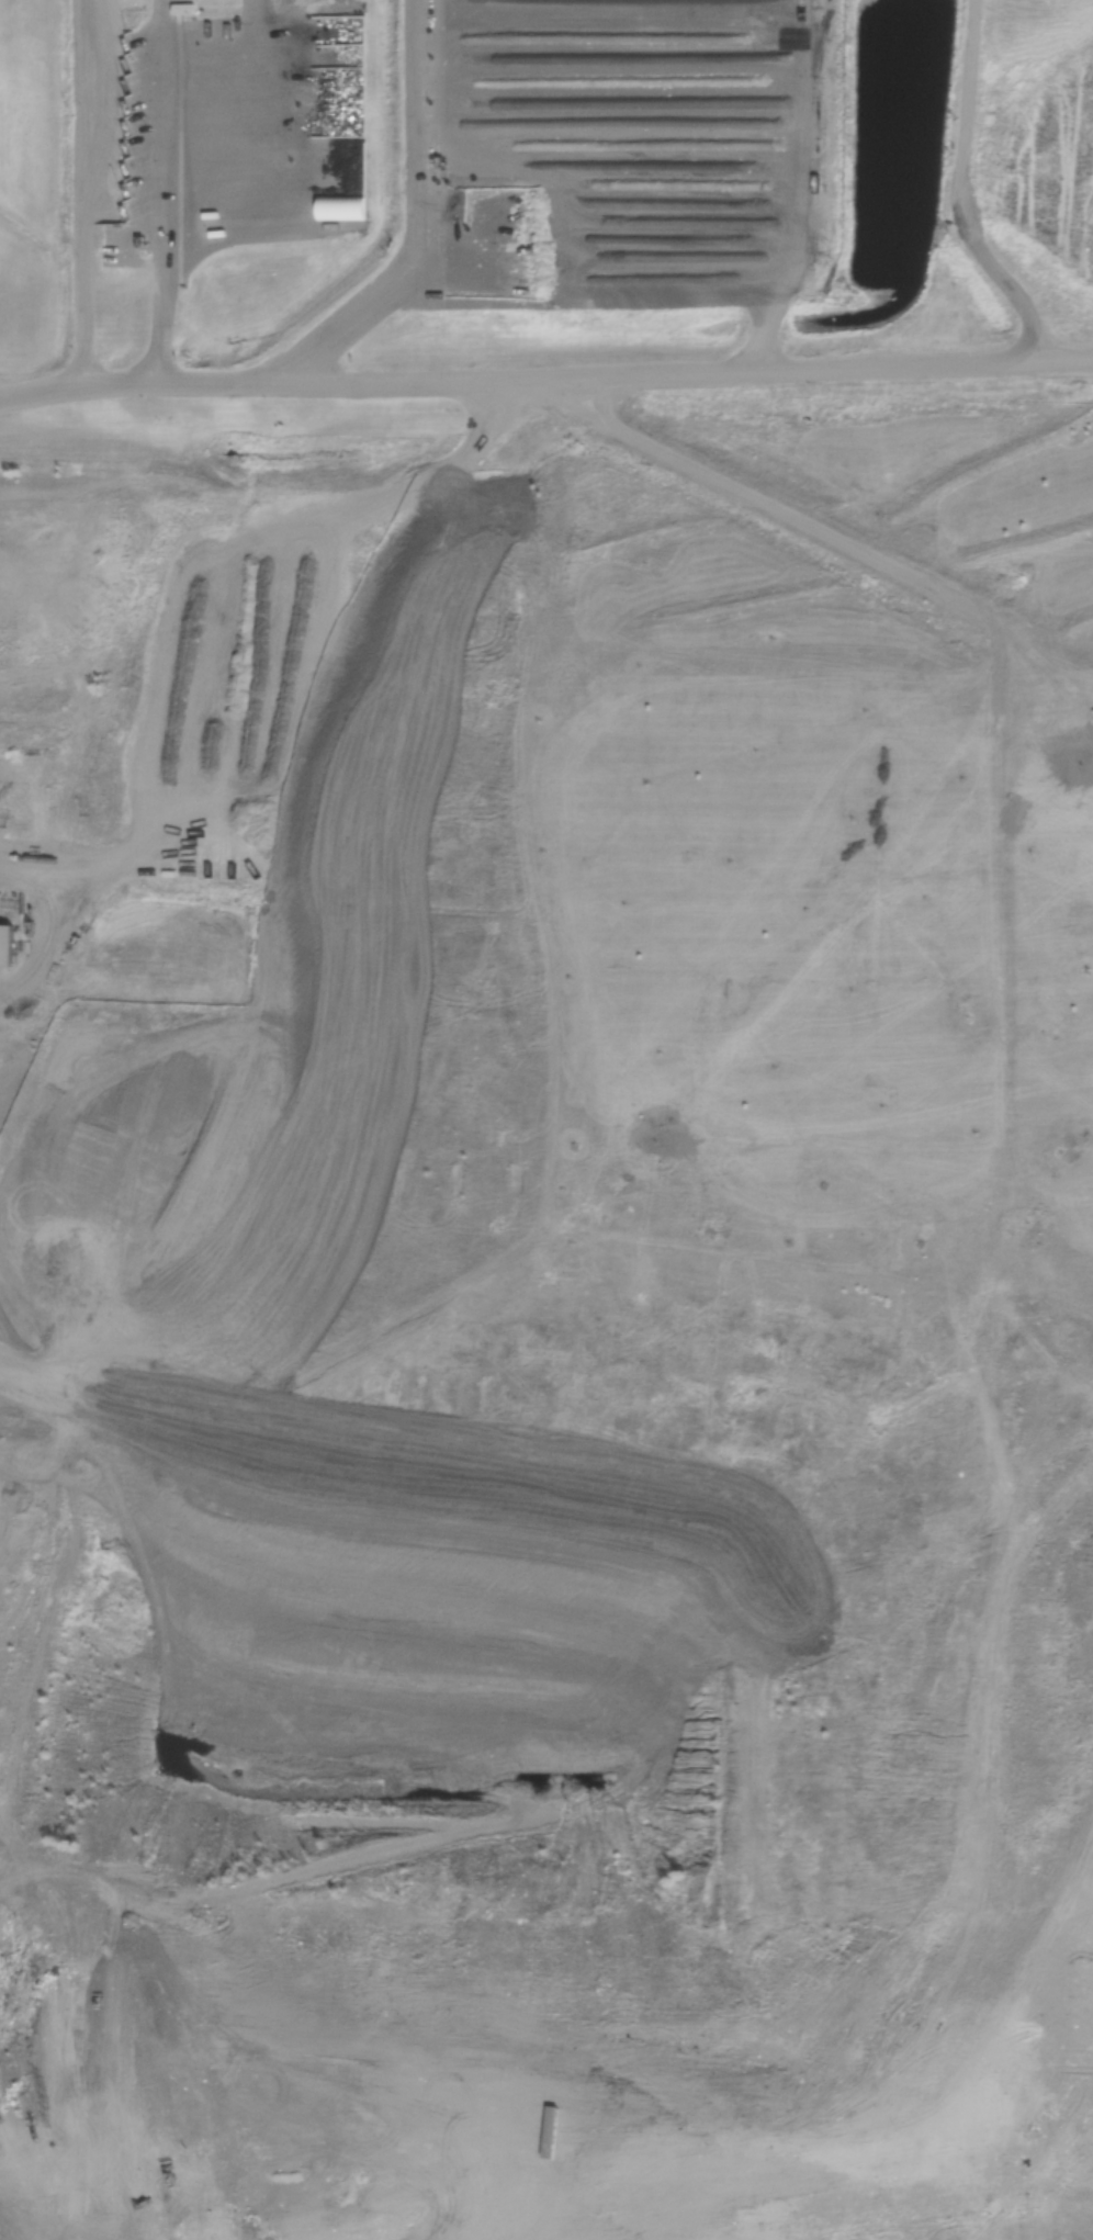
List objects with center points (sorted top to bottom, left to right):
building: (183, 10)
road: (164, 192)
road: (82, 195)
building: (120, 207)
road: (418, 222)
road: (545, 371)
building: (10, 945)
landfill: (538, 1387)

